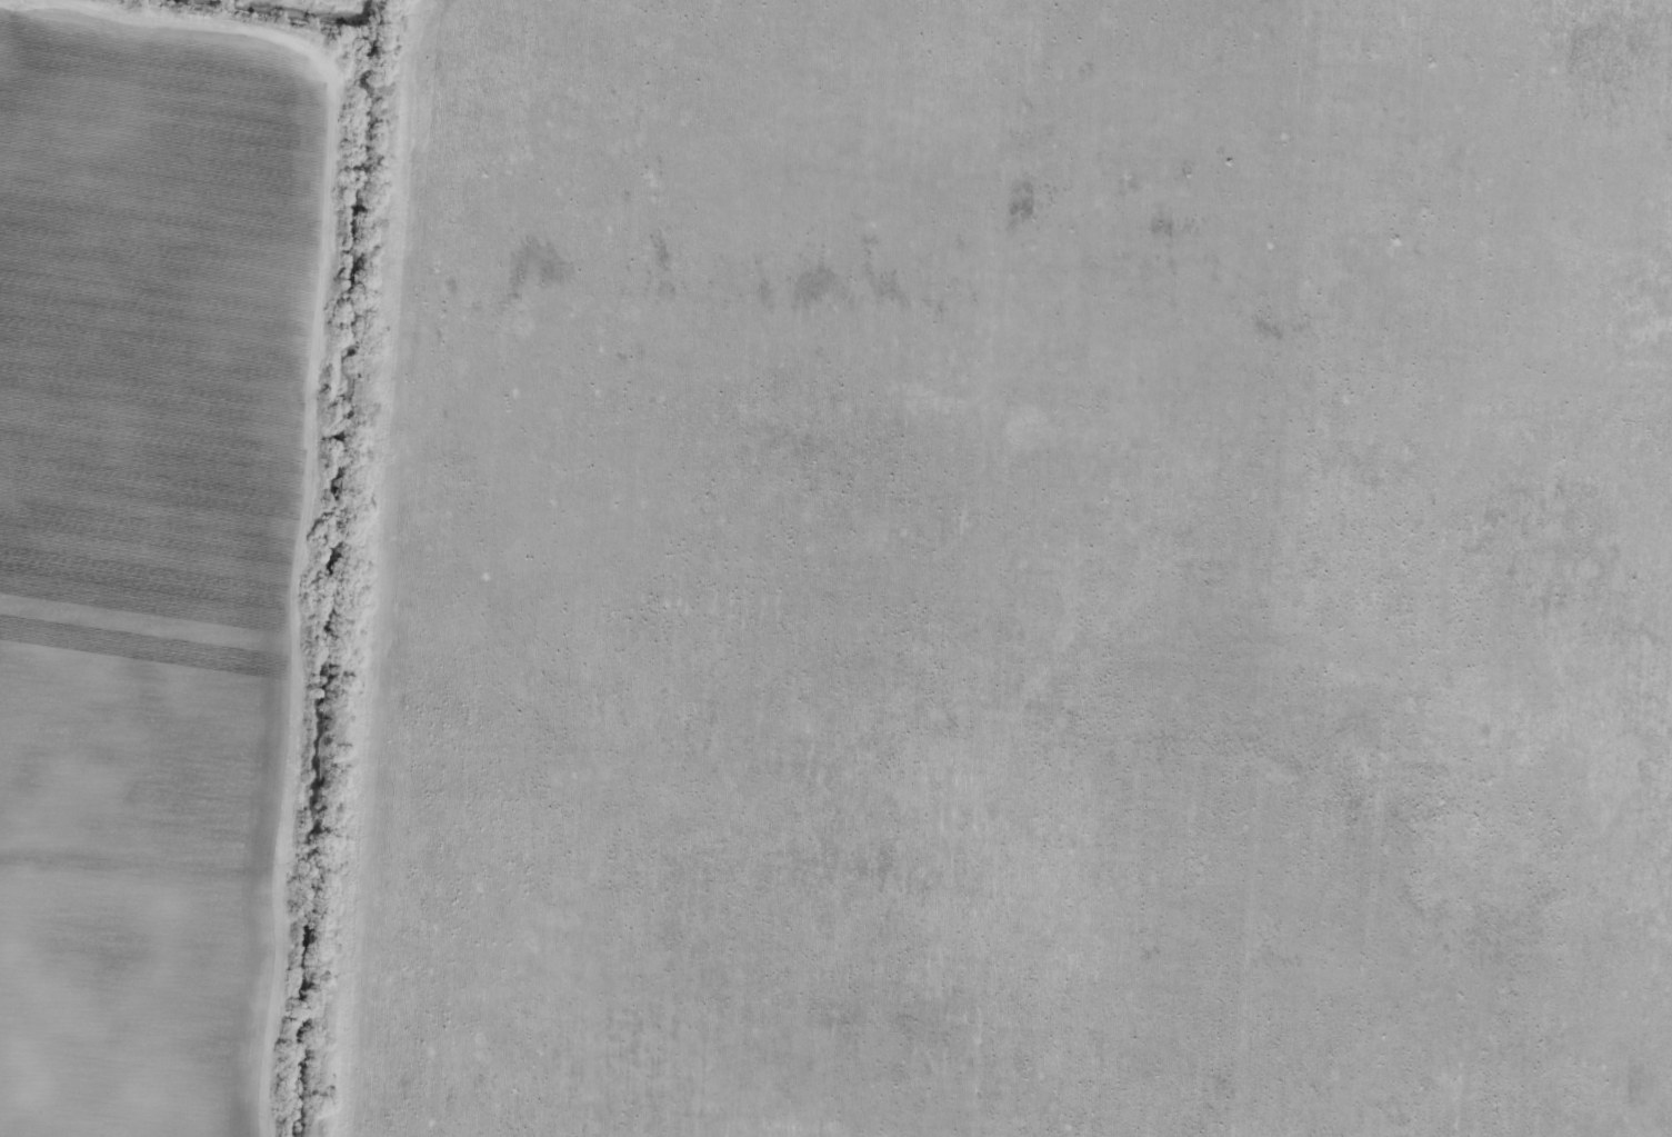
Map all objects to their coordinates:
road: (1596, 630)

